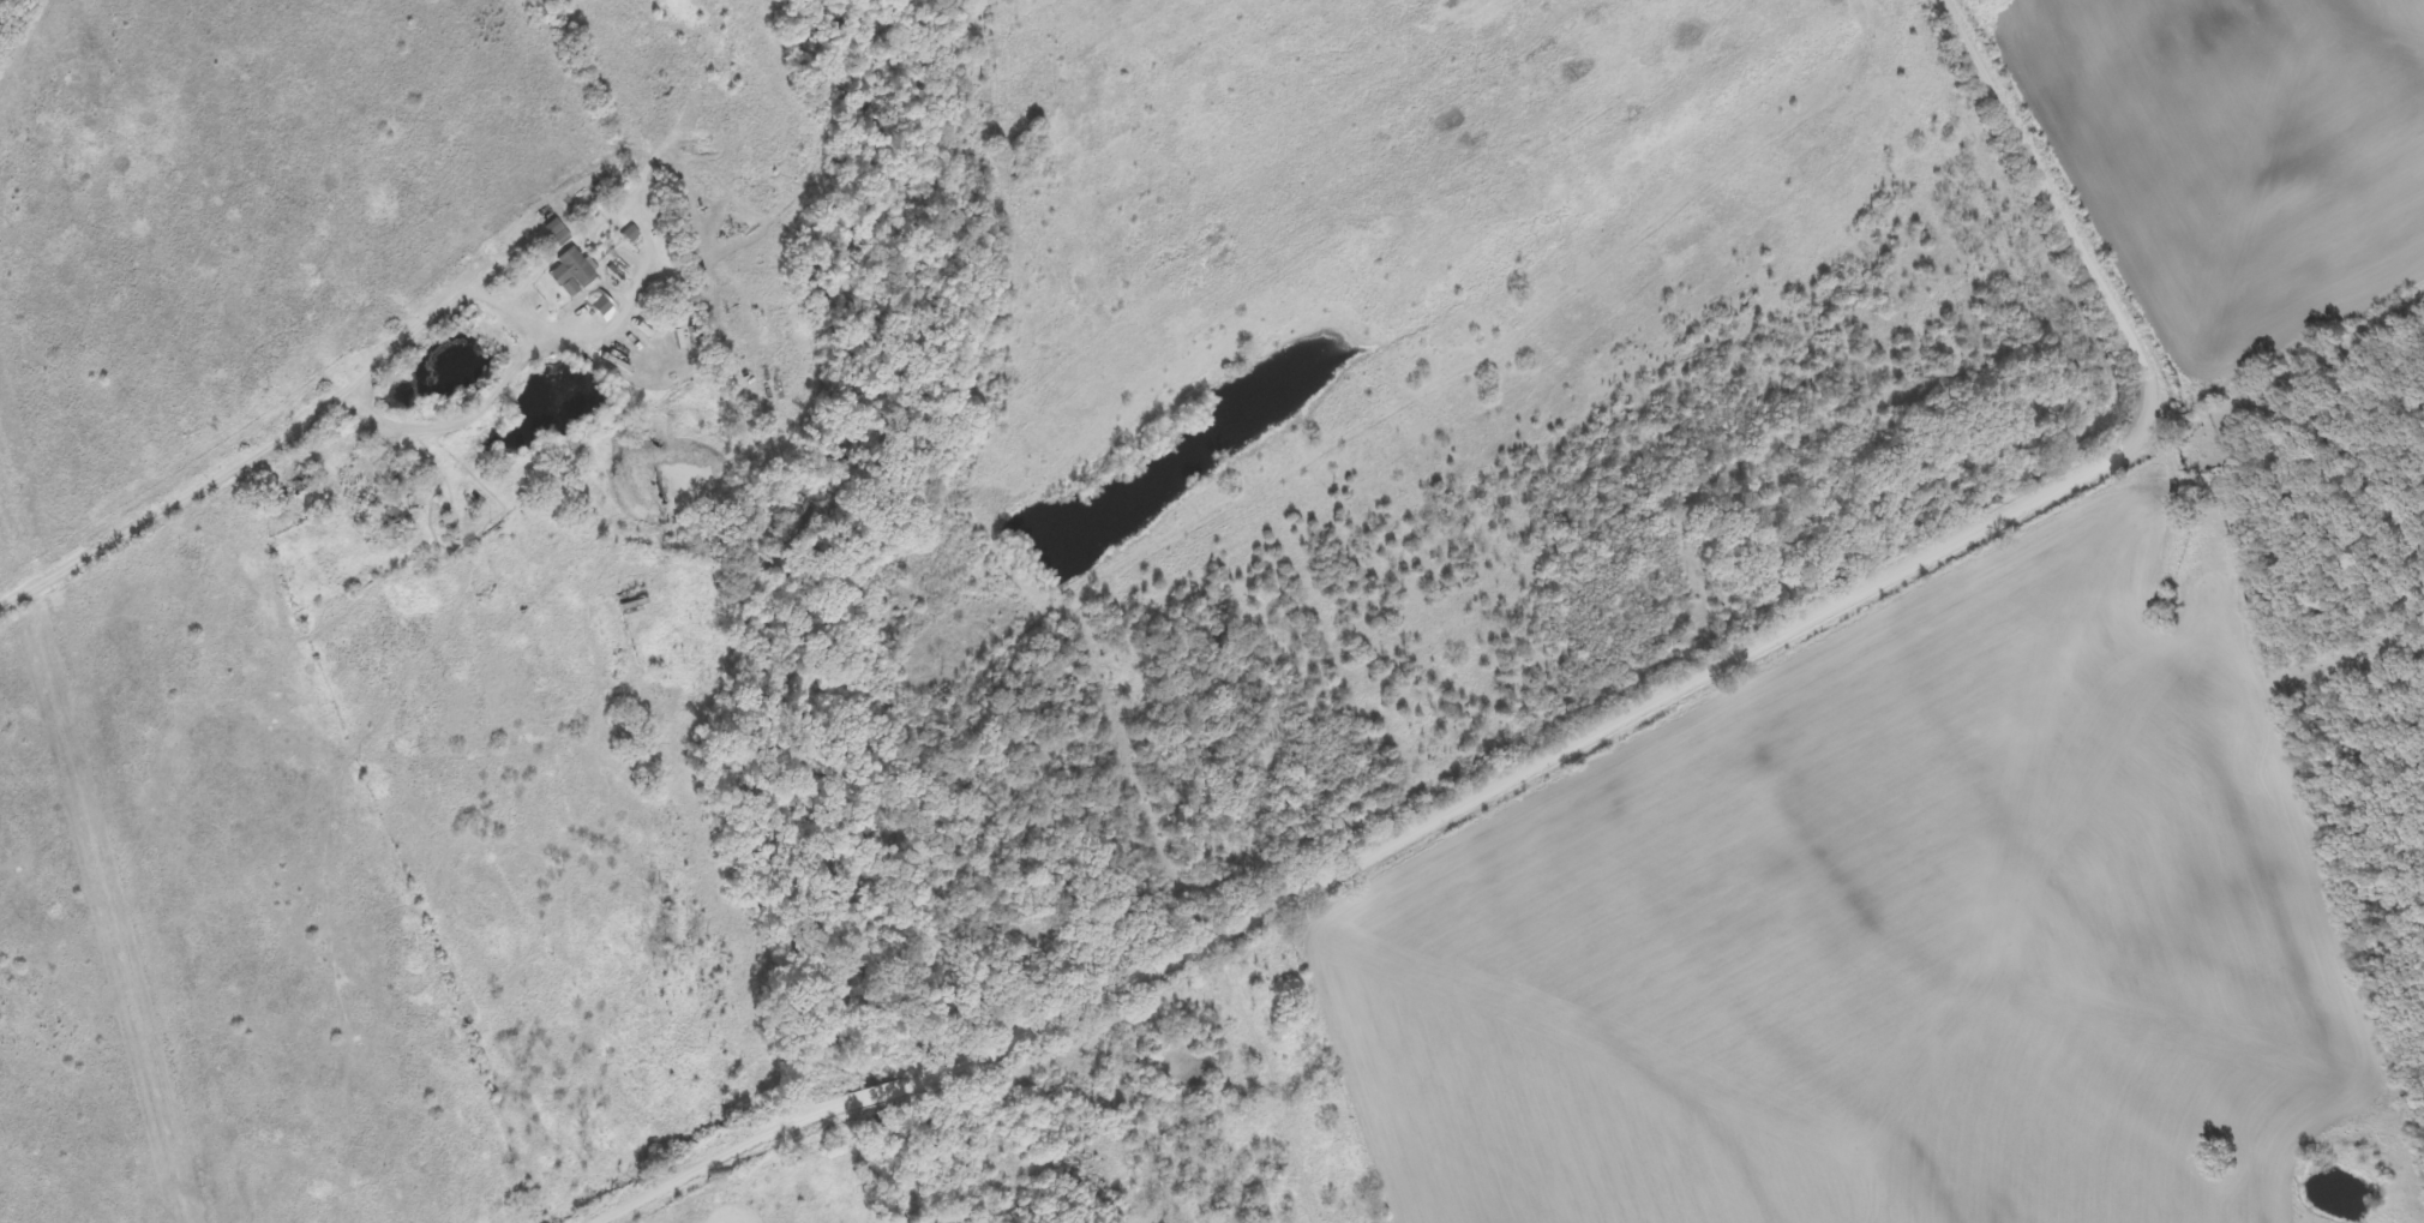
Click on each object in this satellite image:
building: (558, 234)
building: (631, 235)
building: (574, 274)
road: (1604, 735)

